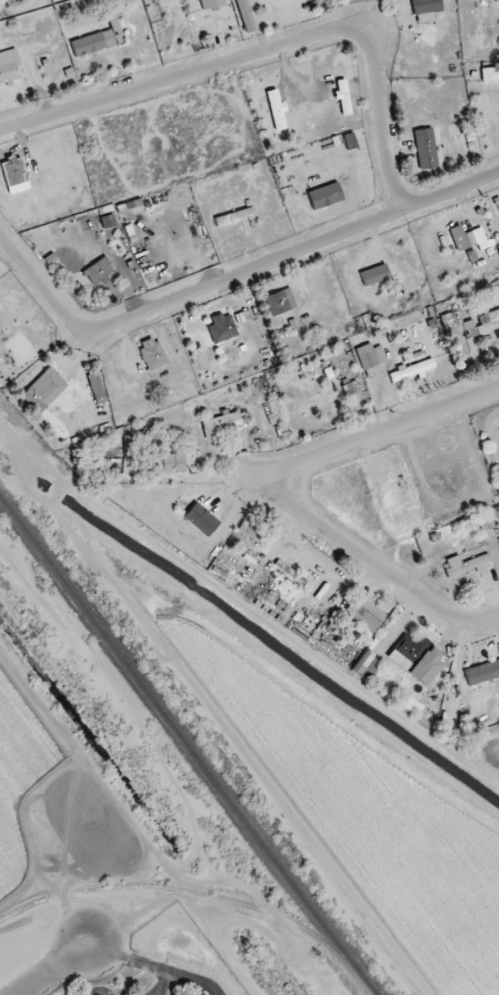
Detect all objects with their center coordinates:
building: (211, 4)
building: (425, 10)
building: (245, 15)
building: (99, 38)
road: (274, 48)
building: (9, 67)
building: (489, 74)
building: (341, 91)
building: (276, 110)
building: (349, 141)
building: (425, 148)
building: (13, 172)
building: (324, 196)
building: (234, 216)
building: (107, 221)
building: (467, 238)
building: (98, 271)
building: (374, 275)
road: (231, 278)
building: (280, 302)
building: (243, 316)
building: (490, 321)
building: (457, 325)
building: (221, 328)
building: (152, 354)
building: (371, 361)
building: (412, 370)
building: (97, 388)
building: (44, 389)
building: (351, 389)
building: (315, 406)
building: (219, 425)
building: (498, 429)
building: (158, 462)
building: (172, 463)
building: (128, 469)
road: (278, 493)
building: (485, 523)
building: (188, 525)
building: (254, 534)
building: (423, 545)
building: (467, 565)
road: (251, 613)
building: (365, 613)
building: (416, 659)
building: (366, 665)
building: (482, 672)
building: (412, 707)
road: (231, 742)
railway: (188, 744)
railway: (200, 894)
road: (63, 969)

